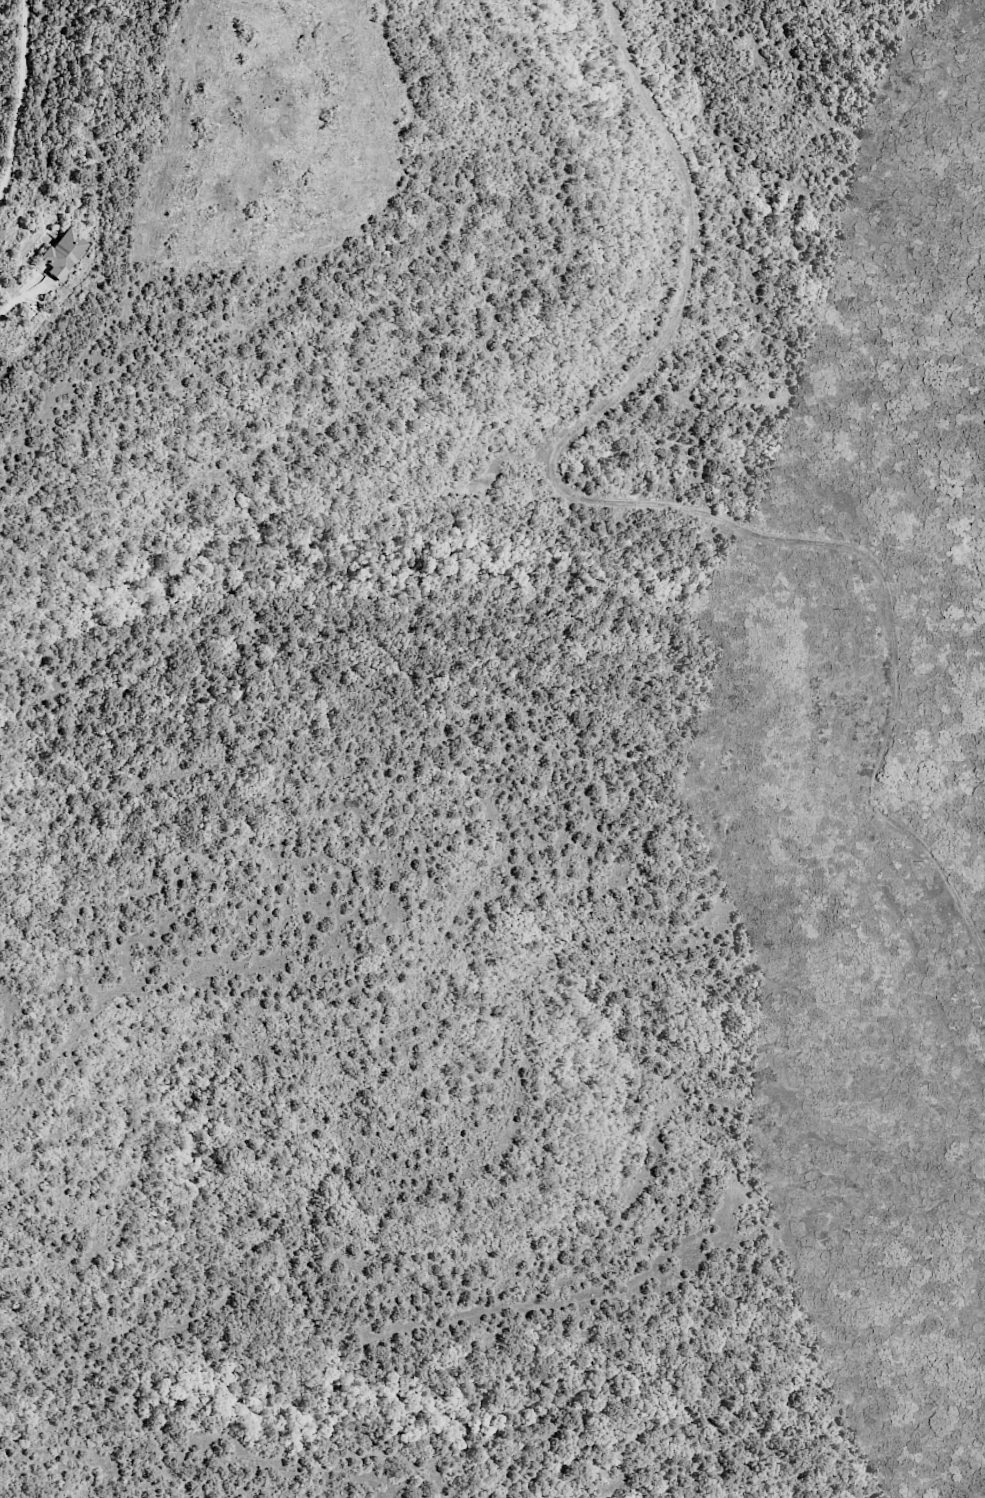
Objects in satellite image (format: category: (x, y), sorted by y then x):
road: (19, 97)
building: (63, 253)
road: (17, 299)
road: (662, 505)

